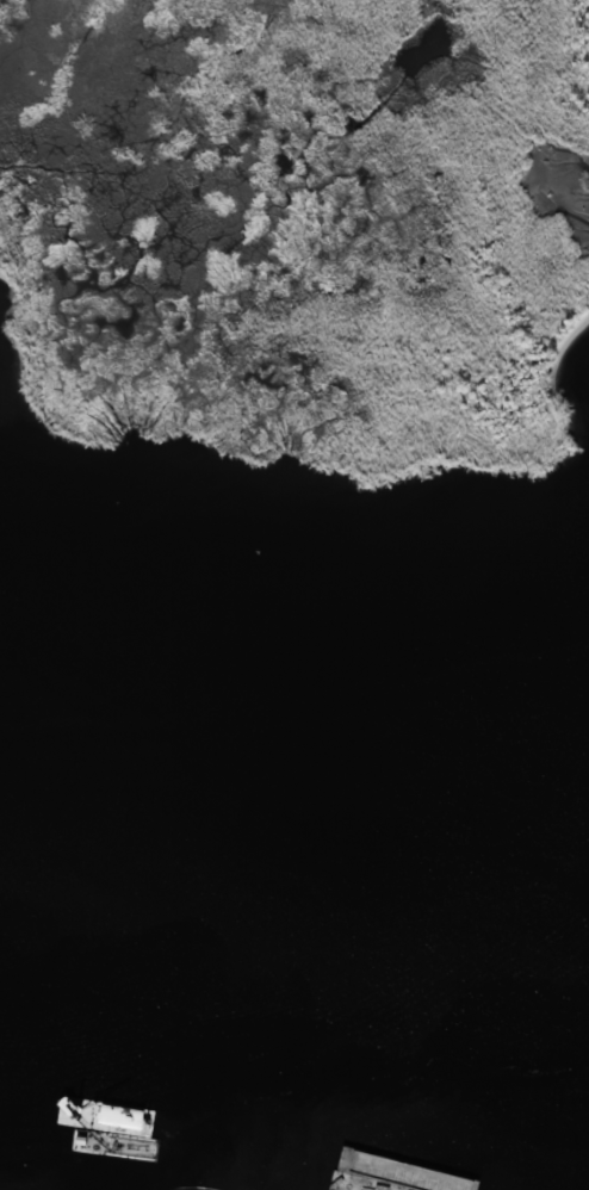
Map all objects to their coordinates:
river: (291, 987)

